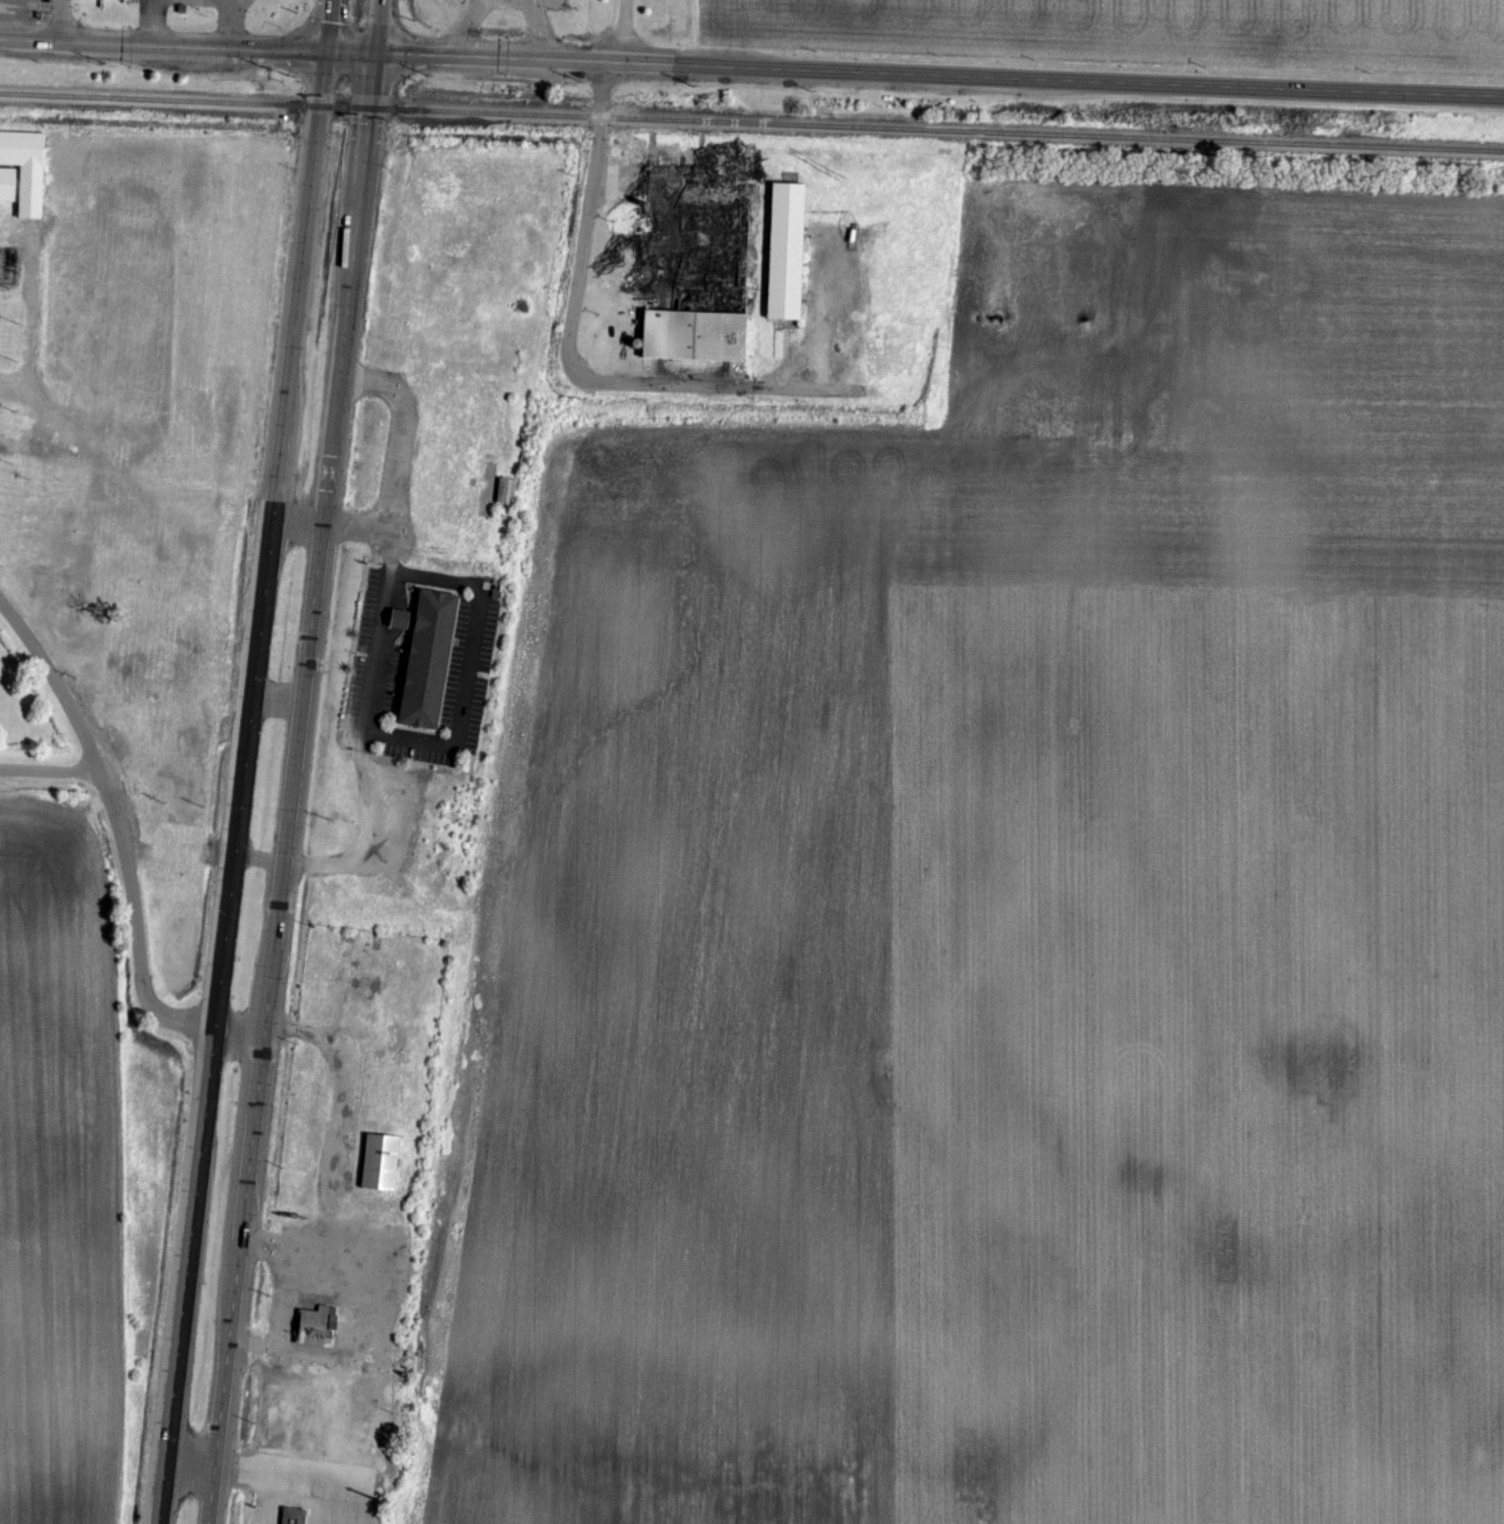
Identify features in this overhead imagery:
road: (229, 0)
building: (182, 7)
parking lot: (26, 9)
road: (56, 20)
road: (152, 22)
road: (230, 24)
road: (328, 25)
road: (381, 25)
road: (624, 28)
crop: (1134, 31)
road: (163, 45)
traffic signals: (327, 50)
road: (353, 50)
traffic signals: (380, 51)
road: (942, 69)
railway: (160, 102)
railway: (346, 109)
railway: (937, 129)
building: (26, 168)
building: (8, 184)
road: (582, 207)
building: (787, 250)
building: (695, 336)
road: (624, 359)
road: (394, 448)
building: (506, 491)
road: (331, 525)
building: (495, 595)
building: (398, 620)
road: (376, 656)
building: (429, 660)
parking lot: (421, 663)
road: (468, 667)
road: (51, 772)
road: (239, 786)
road: (298, 787)
road: (125, 847)
road: (348, 860)
building: (379, 1162)
crop: (58, 1174)
building: (317, 1325)
road: (317, 1475)
building: (294, 1515)

